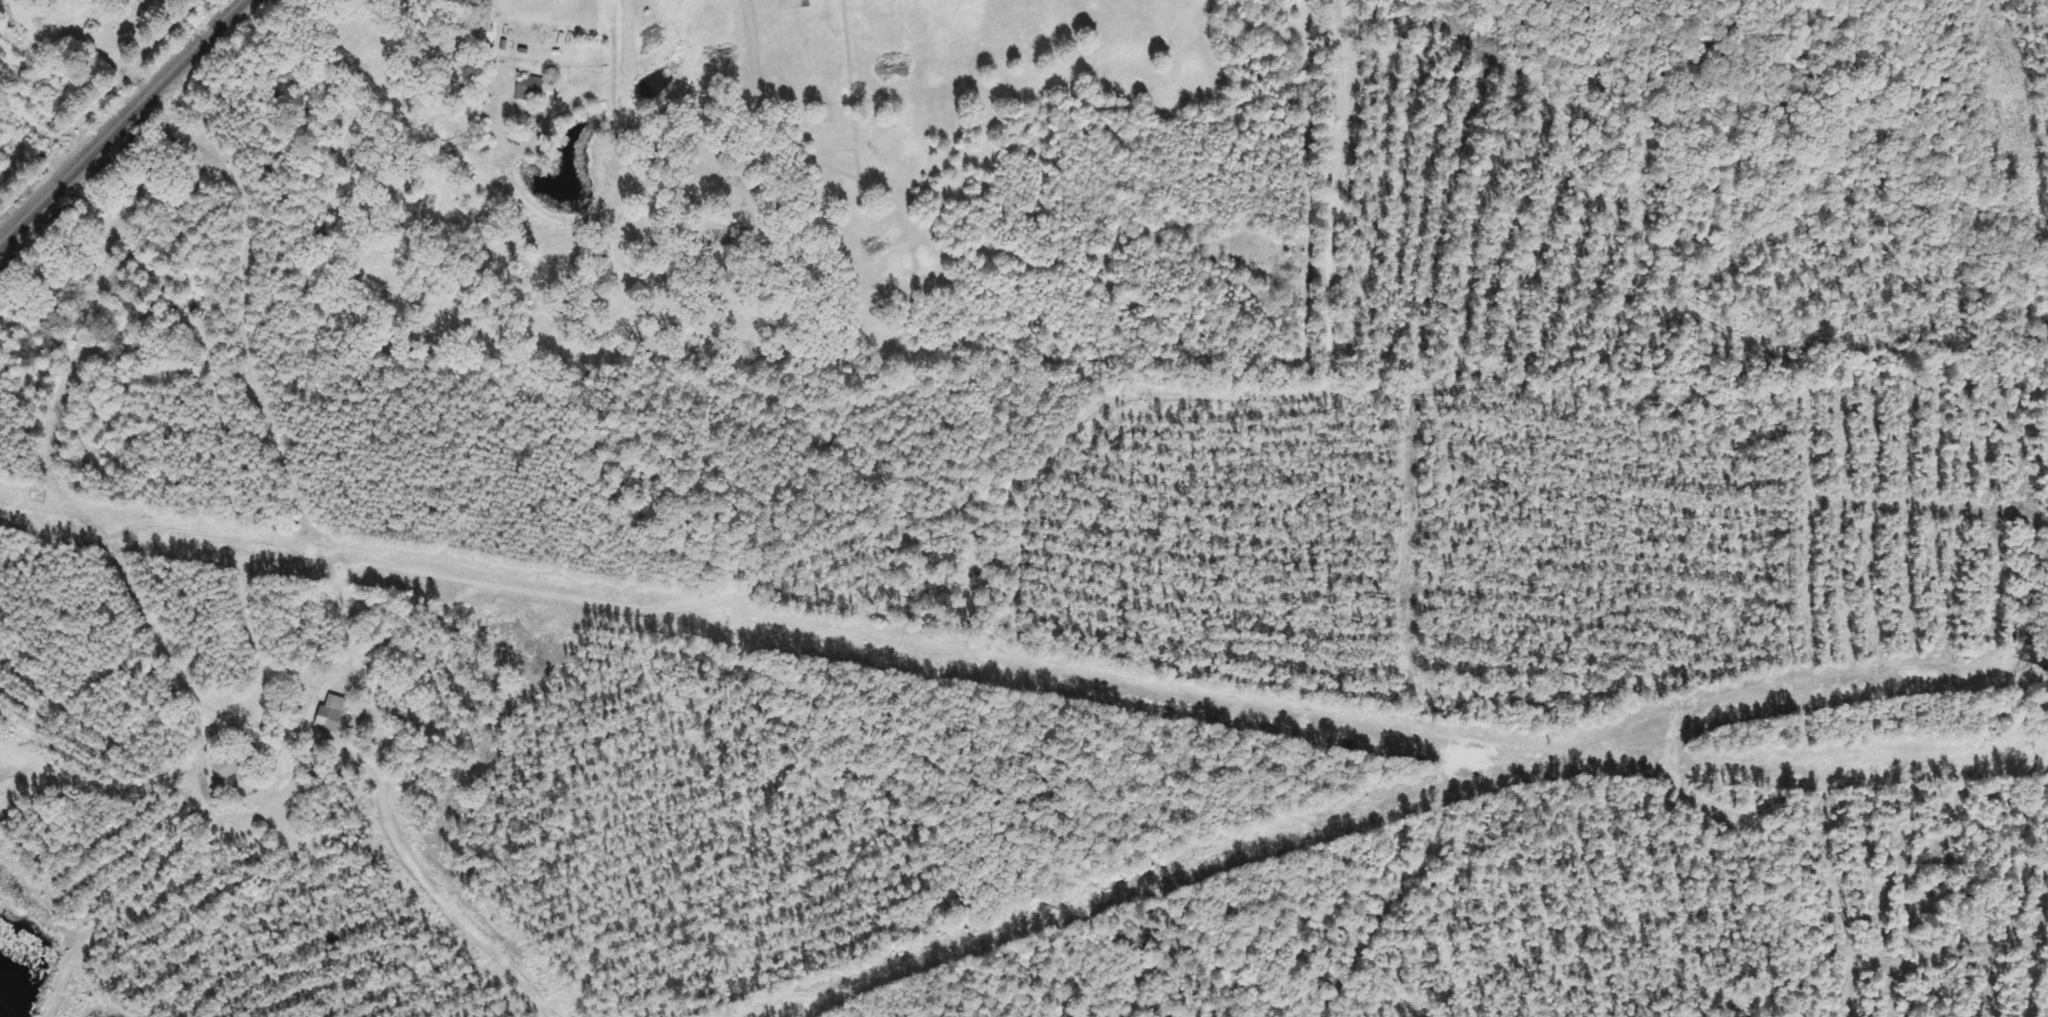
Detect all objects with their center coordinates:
building: (485, 32)
railway: (117, 117)
railway: (124, 123)
building: (327, 714)

